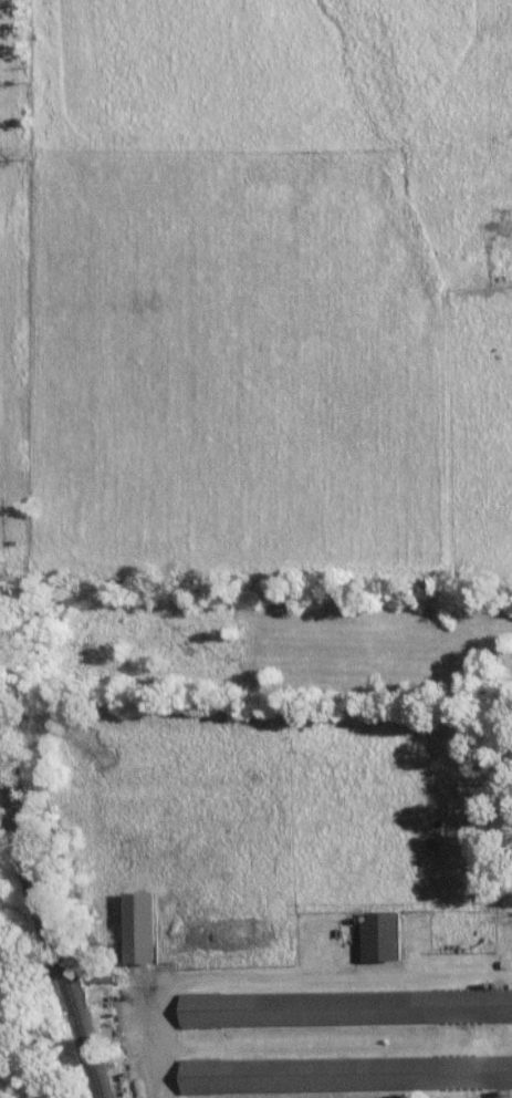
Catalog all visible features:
railway: (52, 920)
building: (139, 928)
building: (380, 936)
road: (280, 978)
building: (344, 1007)
building: (344, 1074)

